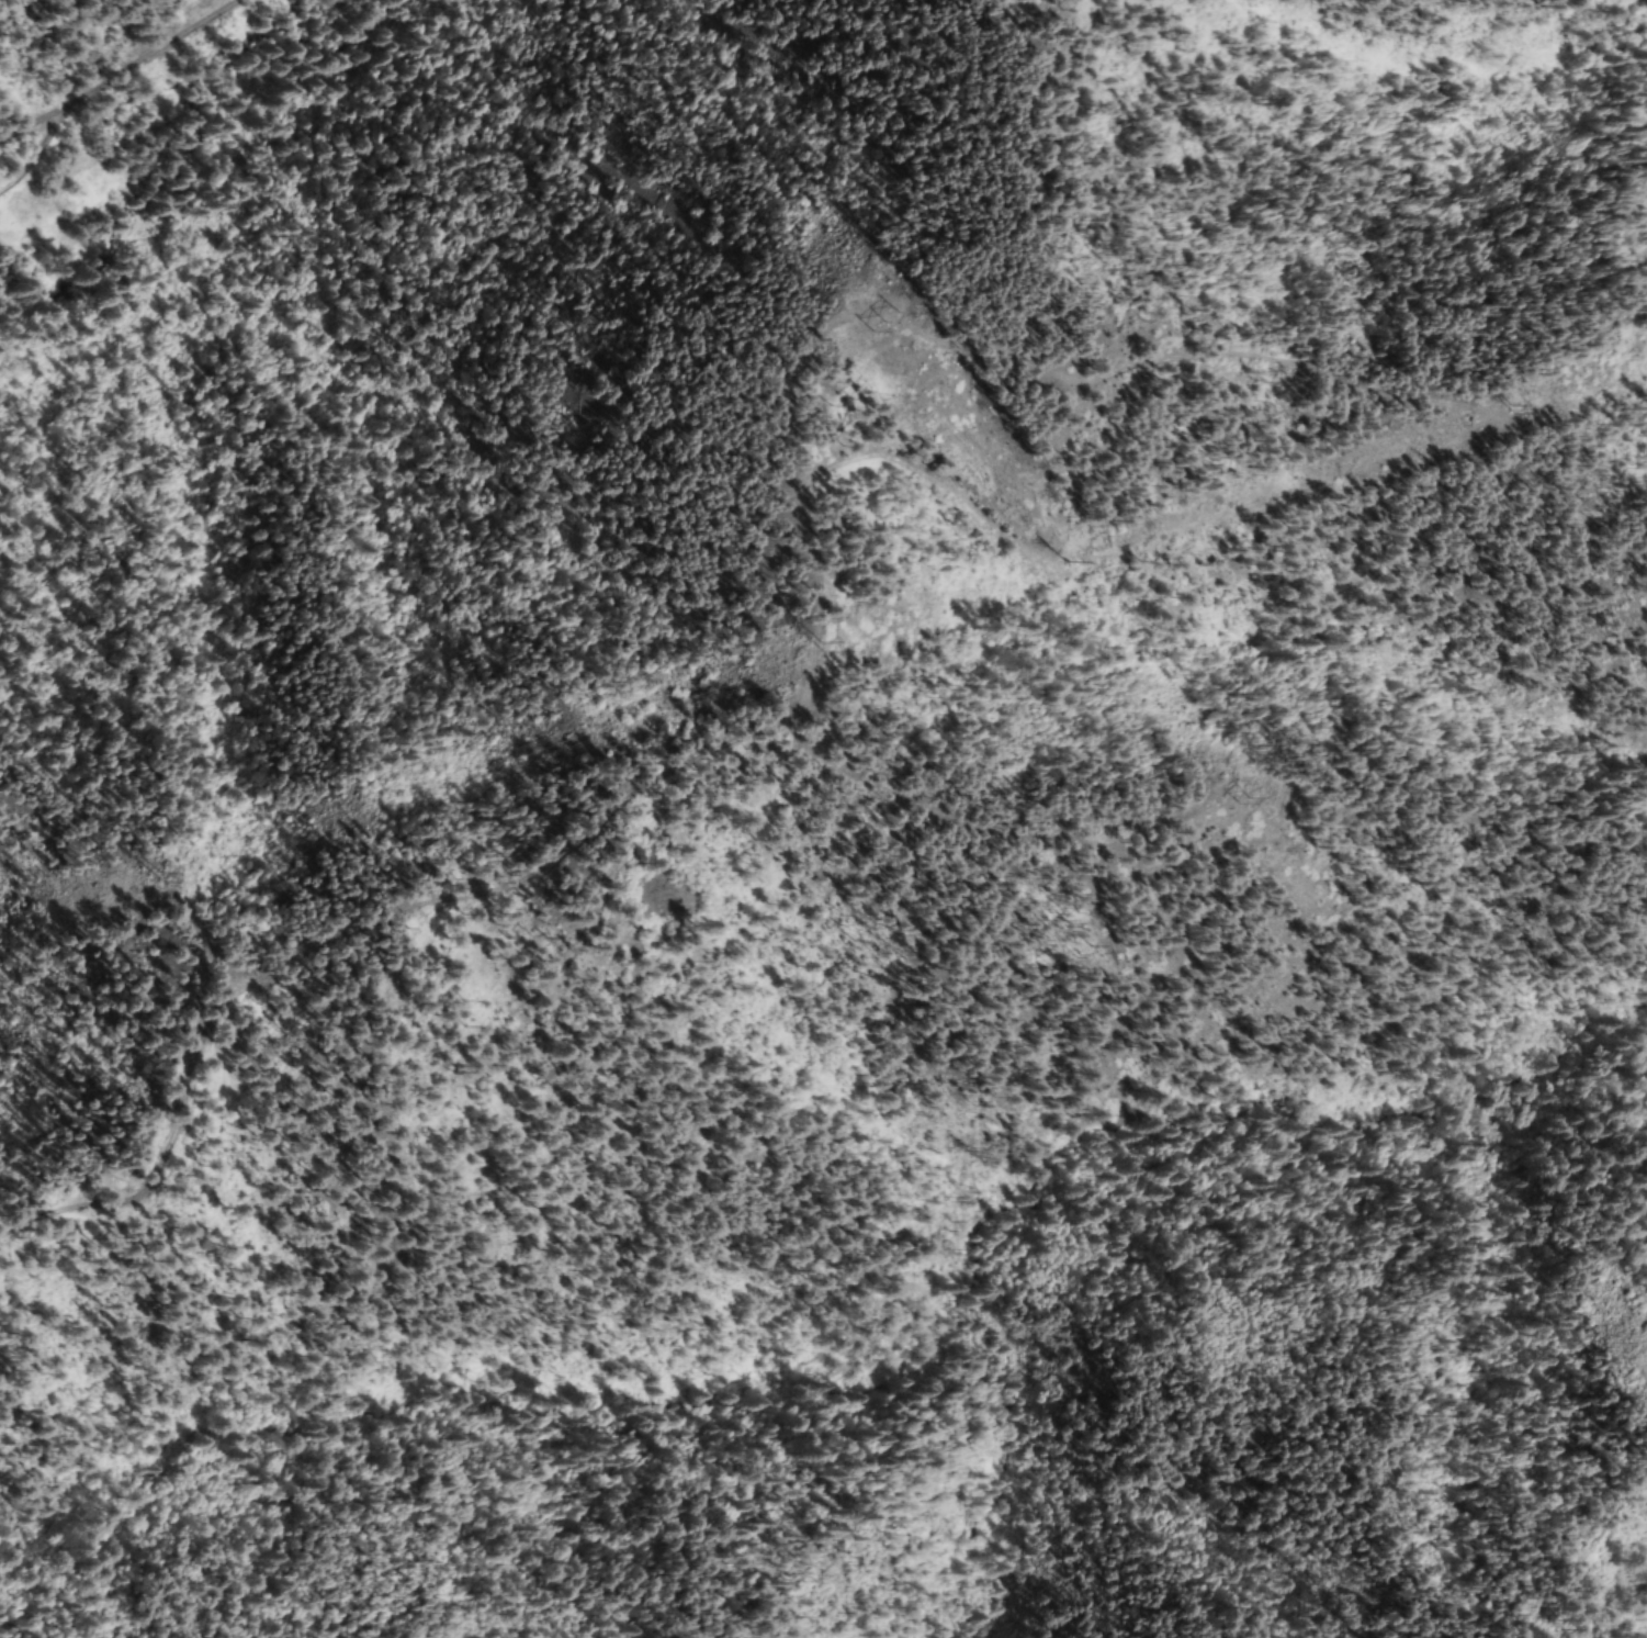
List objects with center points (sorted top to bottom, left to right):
road: (127, 83)

